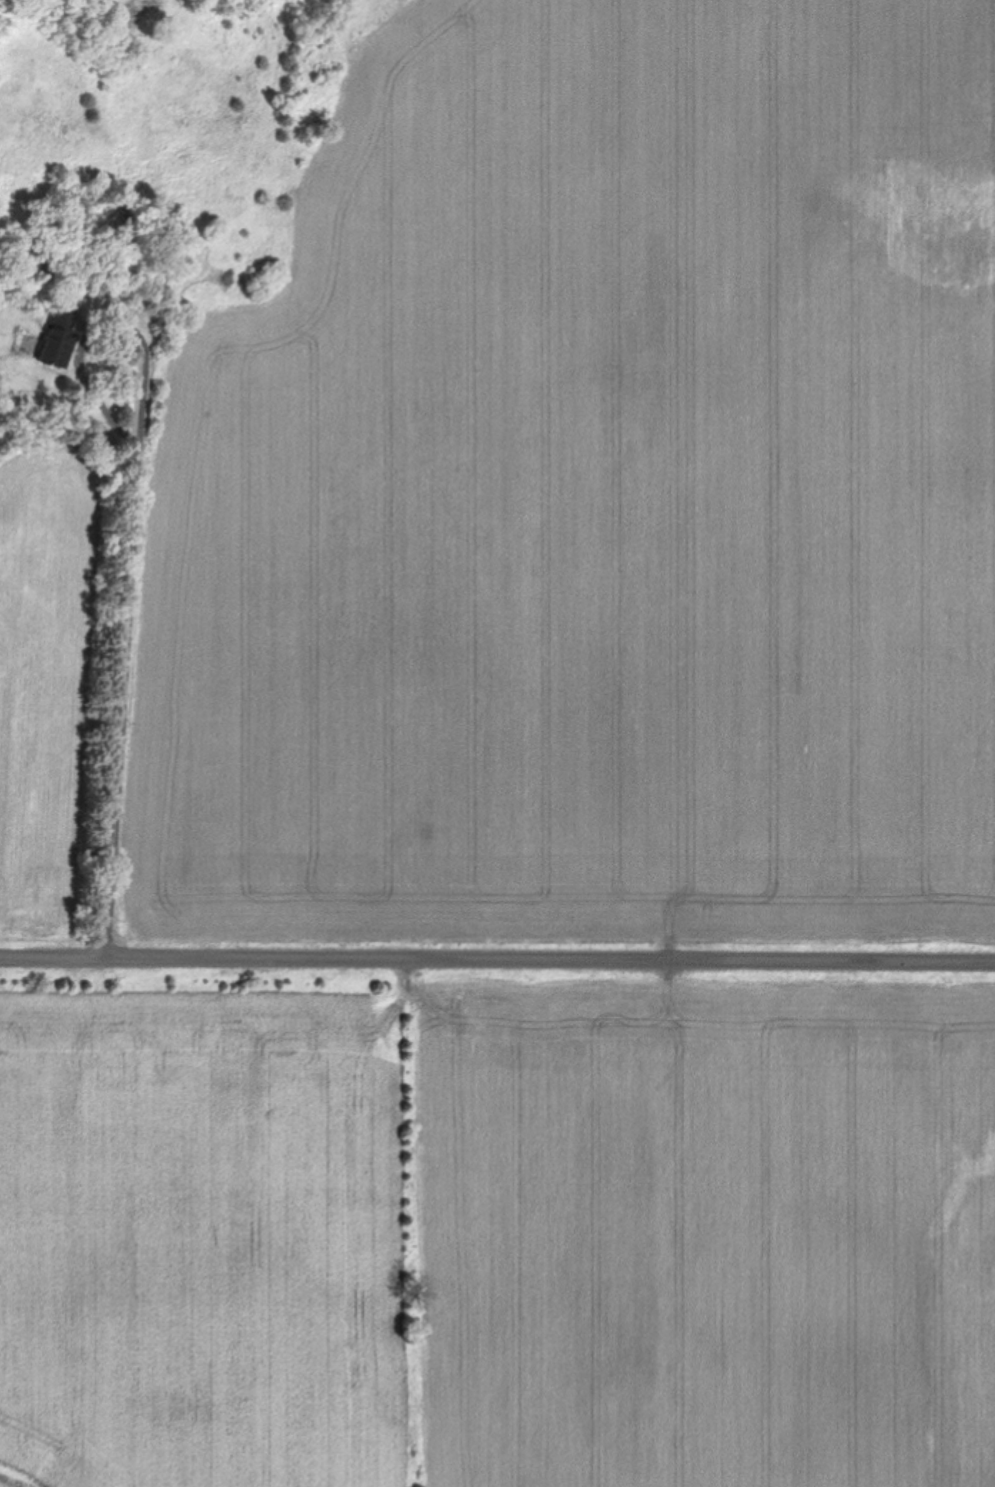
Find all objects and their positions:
building: (20, 259)
building: (58, 339)
road: (128, 608)
road: (497, 959)

